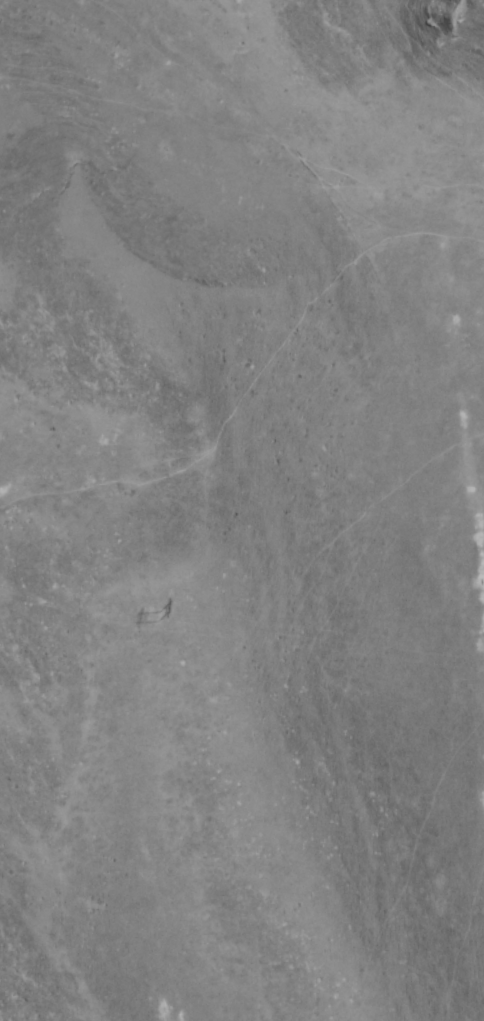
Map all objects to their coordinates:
power tower: (157, 618)

